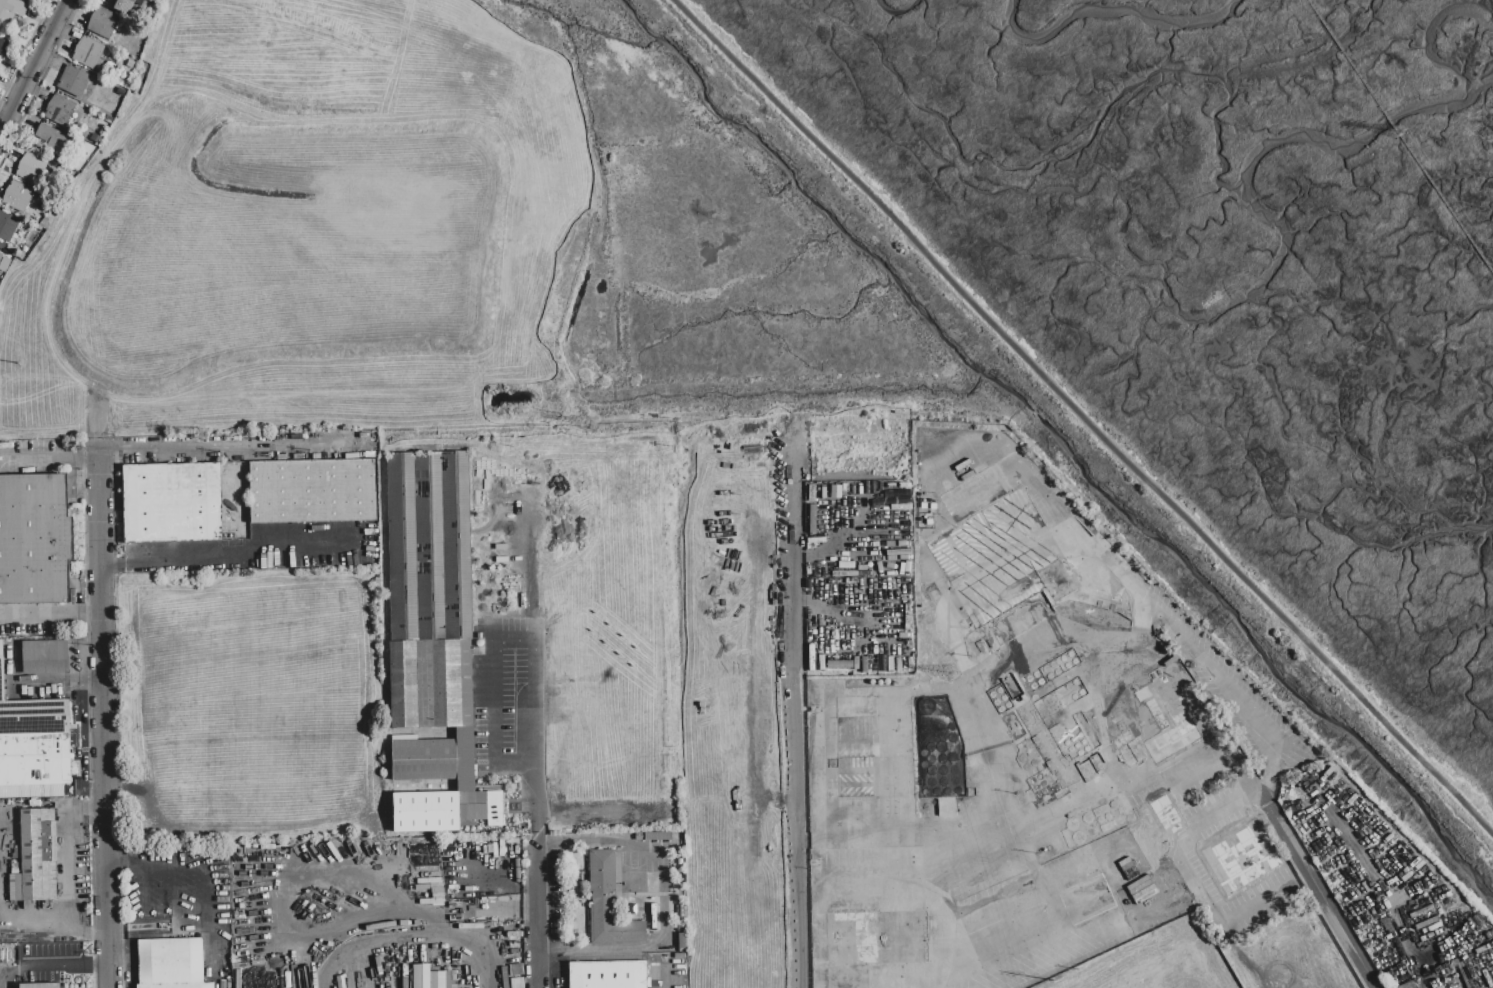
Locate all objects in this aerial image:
building: (123, 5)
building: (11, 10)
building: (102, 23)
building: (3, 46)
road: (24, 49)
building: (87, 53)
road: (33, 69)
street lamp: (38, 80)
road: (39, 80)
building: (73, 81)
building: (59, 111)
power tower: (1404, 130)
road: (1400, 137)
building: (53, 140)
building: (31, 168)
building: (16, 196)
building: (8, 228)
building: (4, 263)
road: (1084, 417)
power tower: (586, 427)
power tower: (194, 436)
road: (48, 457)
building: (313, 491)
building: (171, 503)
building: (34, 540)
road: (1043, 544)
road: (233, 560)
building: (430, 613)
building: (44, 657)
power tower: (952, 676)
road: (1229, 688)
road: (529, 700)
road: (102, 713)
road: (793, 731)
road: (79, 739)
building: (33, 746)
building: (559, 775)
building: (425, 812)
road: (1047, 815)
building: (35, 858)
road: (210, 870)
road: (283, 885)
road: (141, 888)
road: (662, 892)
road: (539, 893)
road: (1320, 894)
road: (178, 900)
building: (608, 901)
road: (411, 937)
road: (540, 943)
road: (133, 955)
building: (171, 964)
road: (65, 965)
road: (541, 967)
building: (607, 974)
building: (429, 977)
building: (39, 986)

